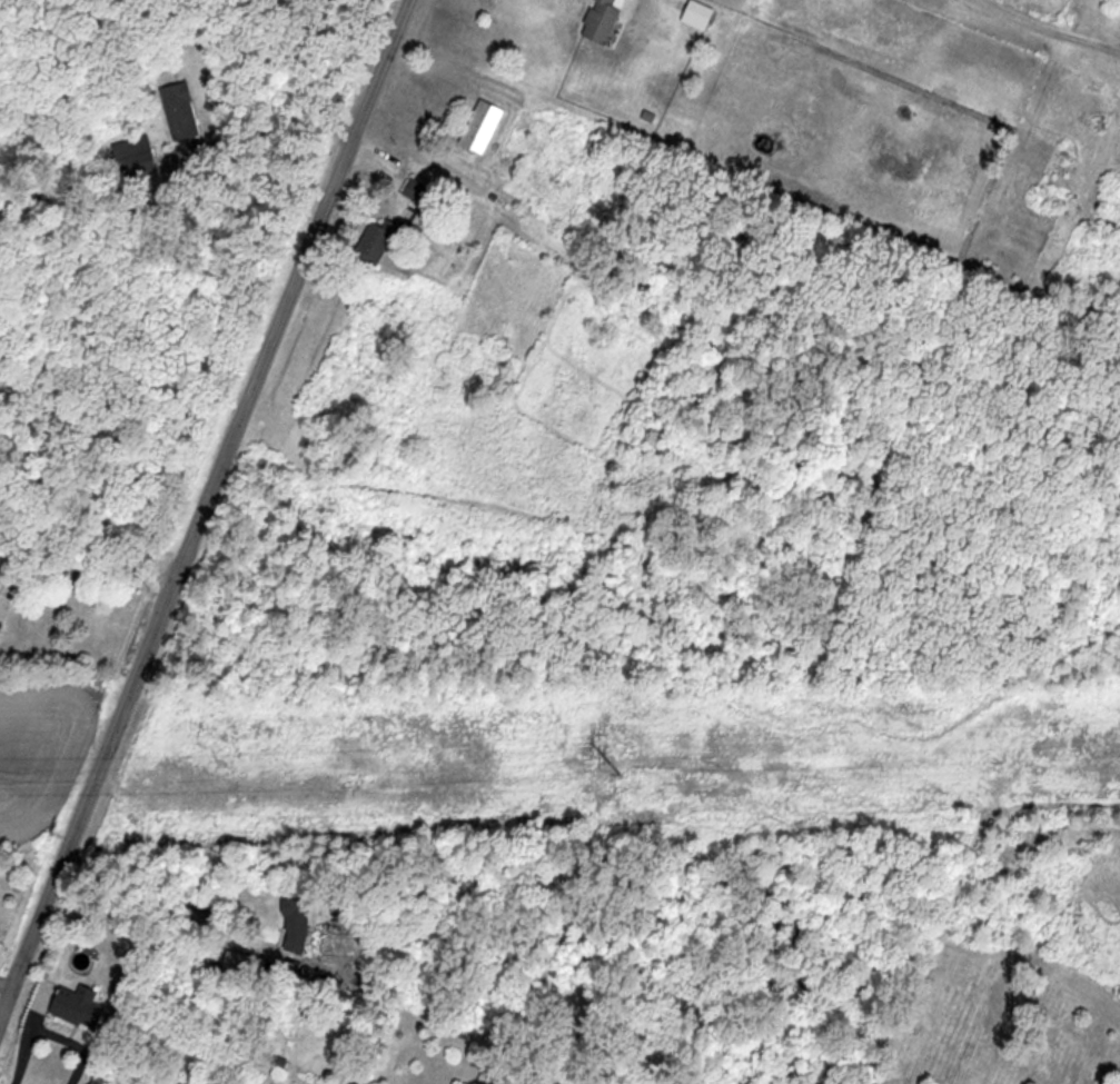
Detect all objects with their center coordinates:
building: (694, 16)
building: (598, 20)
road: (1038, 32)
building: (176, 112)
building: (477, 128)
road: (269, 131)
building: (415, 193)
building: (370, 243)
road: (201, 507)
road: (91, 571)
power tower: (597, 778)
road: (161, 913)
building: (73, 1007)

